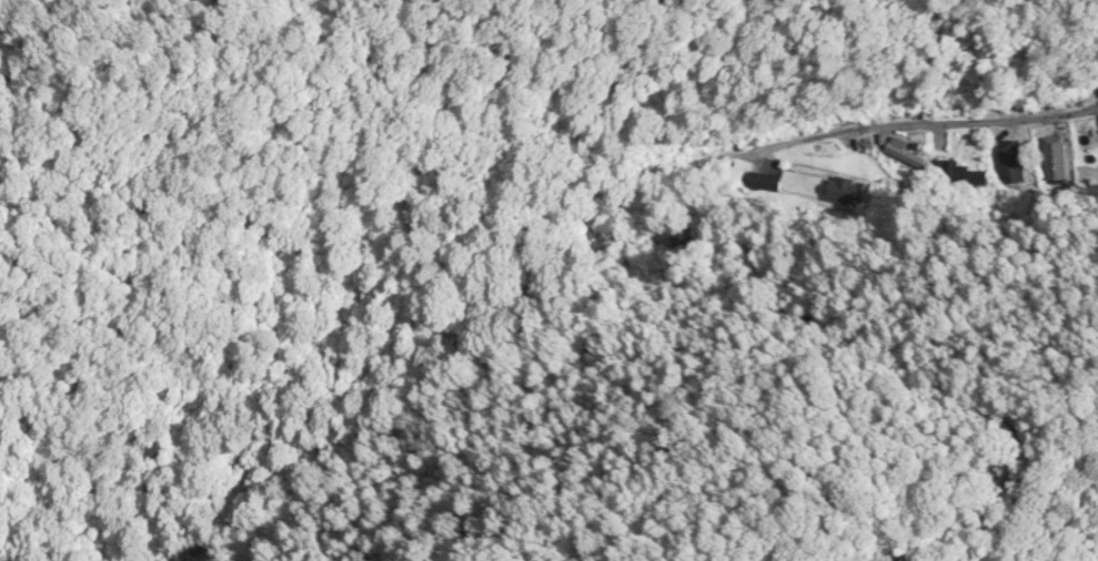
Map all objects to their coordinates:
road: (894, 131)
building: (907, 154)
building: (1014, 156)
building: (844, 188)

